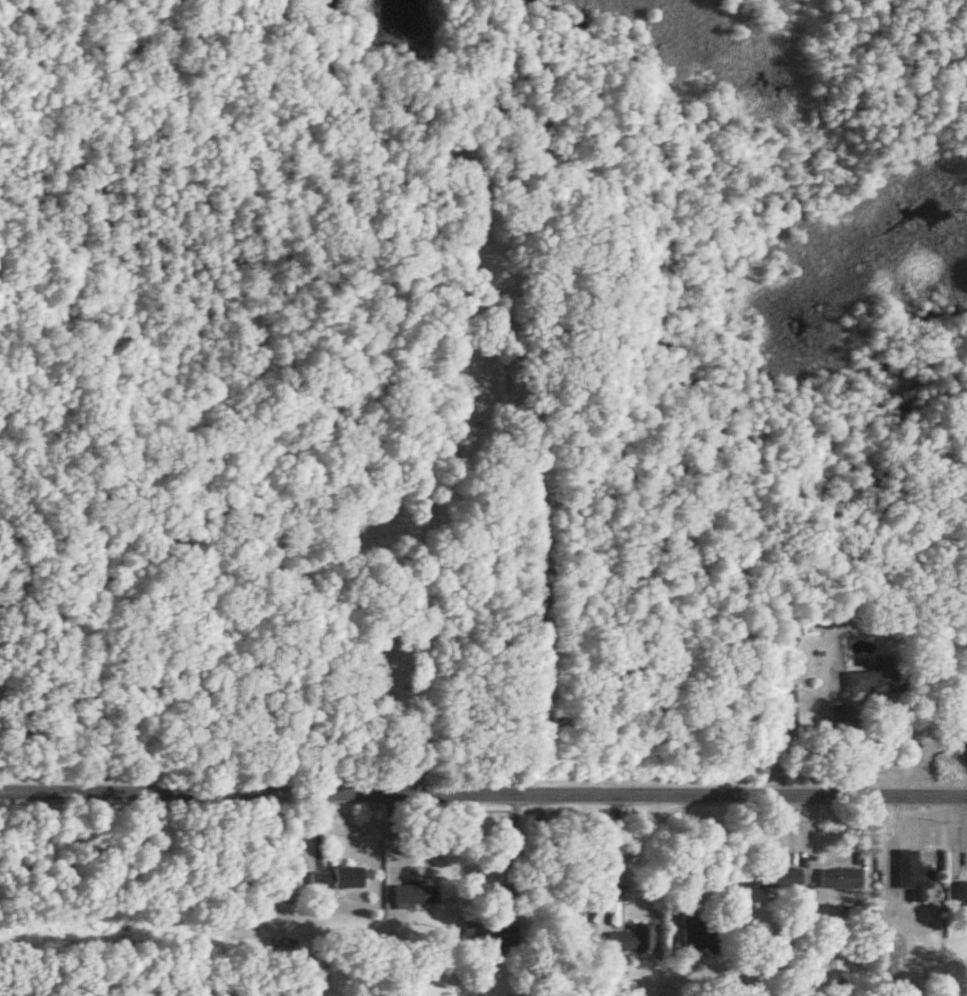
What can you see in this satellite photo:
road: (420, 376)
building: (877, 681)
building: (784, 709)
road: (483, 795)
building: (912, 874)
building: (348, 879)
building: (783, 880)
building: (838, 880)
building: (319, 881)
building: (962, 893)
building: (415, 895)
building: (475, 934)
building: (695, 936)
building: (632, 941)
building: (888, 965)

